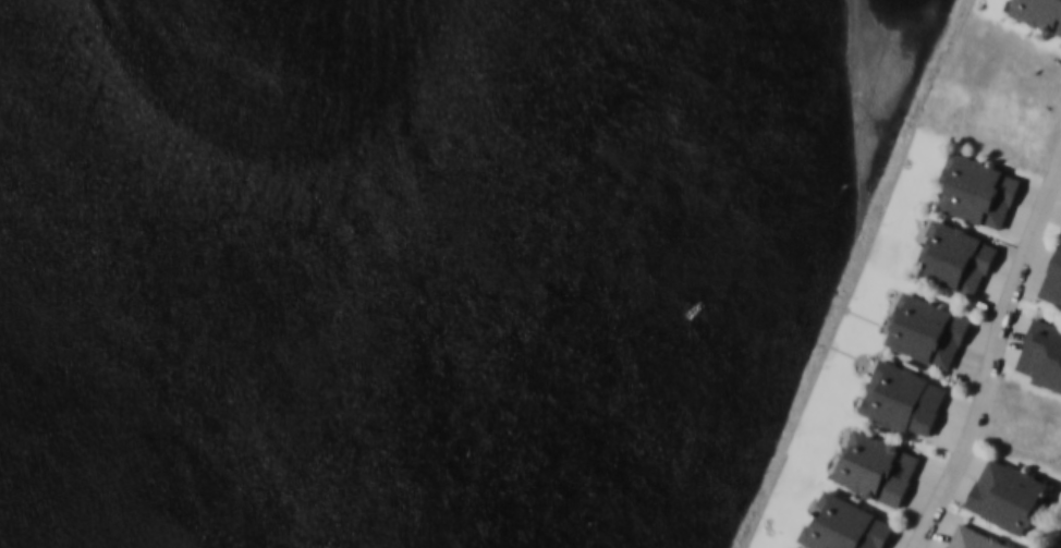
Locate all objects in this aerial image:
building: (1040, 13)
road: (1059, 158)
building: (979, 190)
building: (959, 257)
river: (444, 273)
building: (1053, 281)
building: (929, 329)
road: (992, 357)
building: (905, 398)
building: (877, 466)
building: (1009, 495)
building: (846, 525)
building: (977, 538)

